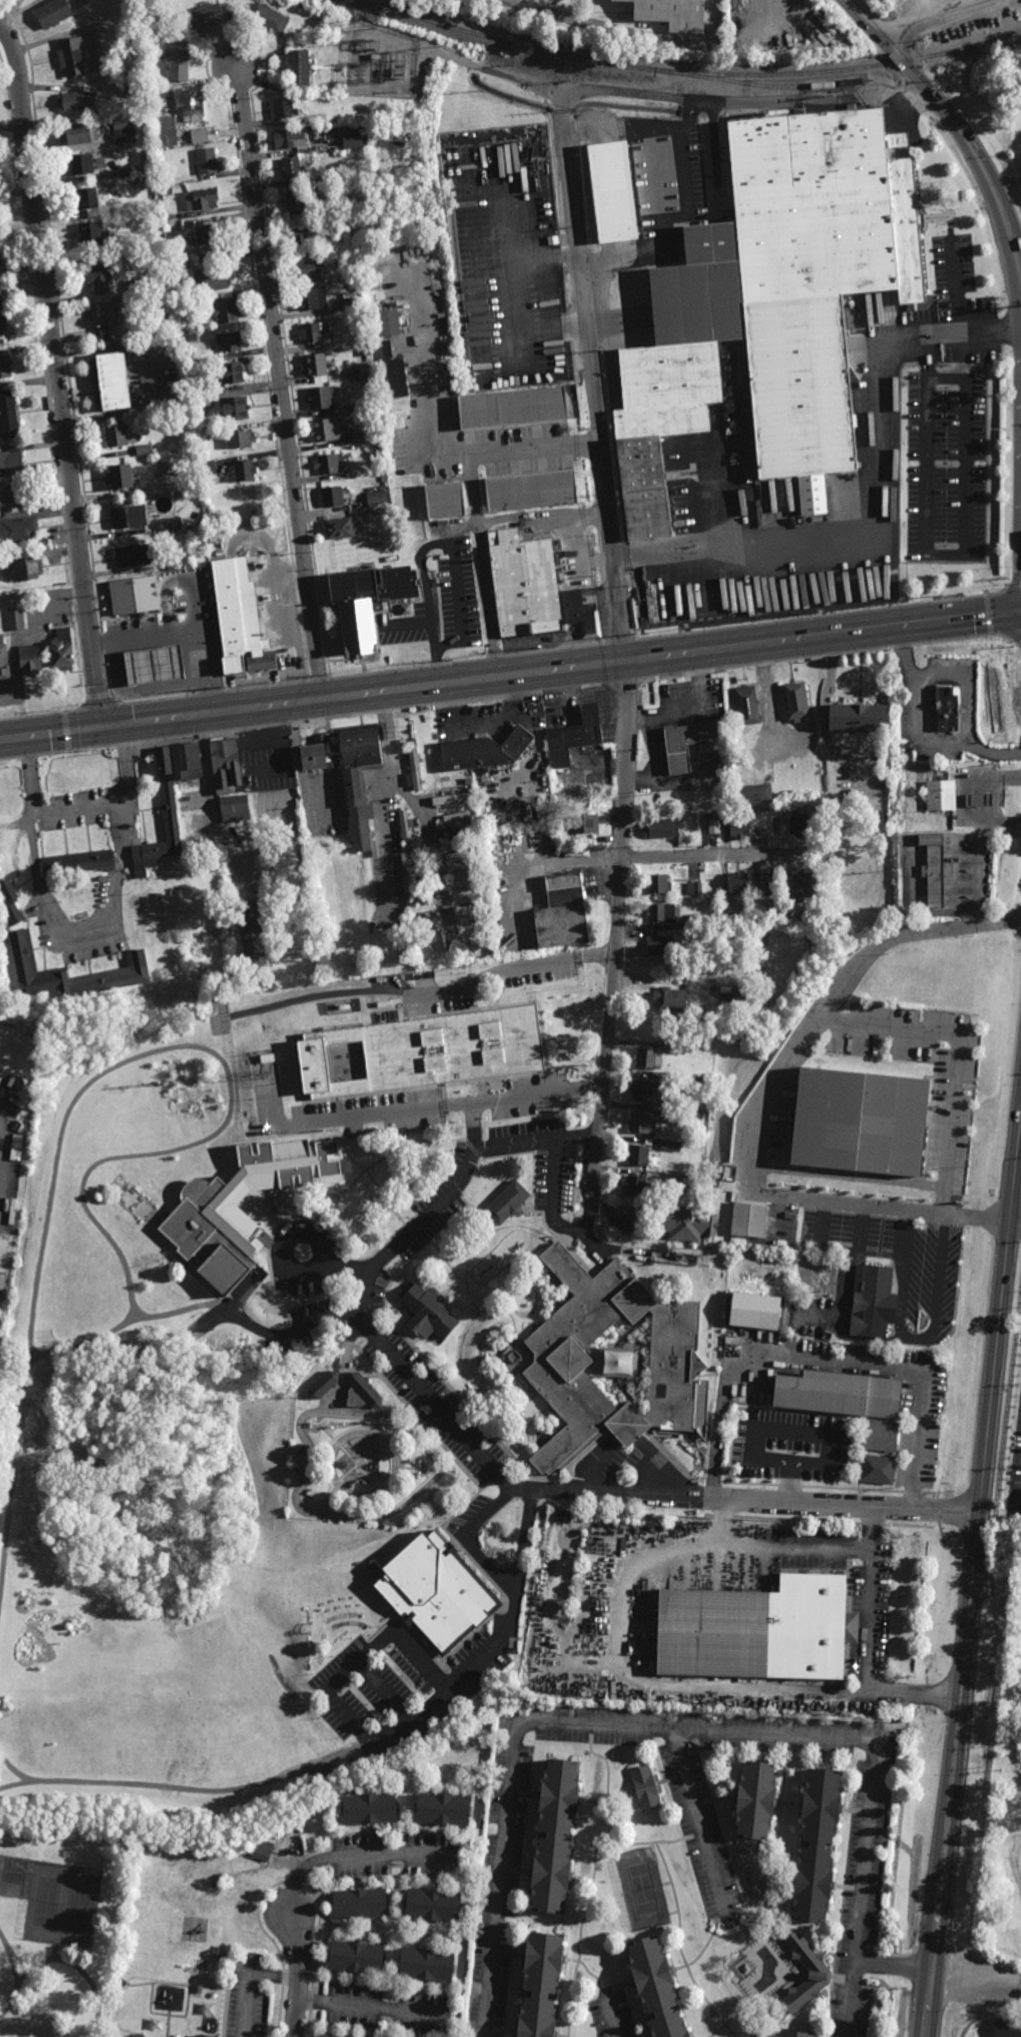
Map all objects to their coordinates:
building: (464, 5)
road: (939, 8)
quarry: (930, 10)
building: (52, 14)
building: (671, 14)
building: (205, 16)
building: (267, 19)
road: (937, 20)
road: (628, 34)
building: (158, 38)
railway: (953, 52)
building: (72, 57)
power substation: (382, 61)
building: (178, 65)
railway: (618, 65)
building: (297, 67)
building: (339, 73)
road: (550, 88)
building: (136, 93)
building: (75, 101)
road: (797, 103)
building: (193, 105)
building: (282, 108)
building: (327, 116)
road: (952, 121)
building: (166, 131)
building: (80, 132)
building: (125, 135)
building: (199, 135)
building: (289, 138)
building: (352, 140)
building: (206, 161)
building: (81, 163)
building: (100, 163)
building: (291, 168)
building: (127, 173)
building: (614, 190)
building: (200, 199)
building: (88, 200)
building: (298, 200)
road: (679, 214)
building: (305, 231)
building: (90, 232)
building: (208, 235)
building: (180, 264)
building: (0, 265)
building: (306, 269)
building: (98, 278)
building: (212, 278)
building: (356, 284)
building: (138, 287)
building: (310, 299)
building: (1, 300)
building: (191, 303)
building: (351, 305)
building: (773, 308)
building: (225, 313)
road: (958, 315)
building: (102, 320)
building: (389, 322)
building: (310, 333)
building: (3, 334)
building: (191, 337)
building: (227, 342)
road: (925, 356)
building: (314, 365)
building: (5, 366)
building: (179, 369)
road: (58, 373)
building: (233, 373)
road: (594, 378)
building: (112, 380)
road: (280, 382)
building: (396, 385)
building: (320, 397)
building: (194, 402)
building: (519, 406)
building: (235, 411)
building: (9, 414)
building: (325, 431)
building: (115, 436)
building: (355, 437)
building: (236, 439)
road: (434, 444)
building: (143, 450)
building: (9, 462)
building: (327, 464)
building: (207, 468)
building: (241, 471)
building: (119, 476)
building: (532, 490)
building: (15, 495)
building: (329, 497)
building: (375, 498)
building: (445, 499)
building: (366, 514)
building: (125, 515)
building: (169, 523)
road: (880, 528)
building: (339, 529)
building: (17, 530)
road: (967, 553)
building: (134, 556)
road: (454, 562)
building: (176, 563)
road: (482, 566)
building: (22, 568)
building: (524, 584)
road: (165, 594)
building: (134, 595)
power tower: (937, 596)
building: (366, 601)
road: (192, 603)
building: (405, 609)
power tower: (822, 610)
building: (16, 619)
building: (585, 620)
building: (237, 622)
road: (408, 625)
road: (185, 630)
power tower: (636, 635)
power tower: (543, 648)
building: (61, 656)
building: (29, 660)
power tower: (441, 660)
building: (3, 662)
building: (154, 665)
power tower: (330, 674)
road: (510, 678)
road: (967, 681)
power tower: (225, 687)
road: (139, 690)
power tower: (121, 698)
building: (795, 702)
building: (746, 705)
building: (946, 706)
power tower: (50, 708)
road: (824, 708)
building: (857, 718)
road: (483, 721)
traffic signals: (102, 726)
road: (919, 732)
building: (574, 737)
building: (686, 745)
building: (484, 751)
building: (267, 756)
building: (164, 761)
building: (186, 761)
building: (224, 764)
road: (298, 766)
building: (413, 767)
building: (349, 772)
building: (563, 779)
building: (447, 782)
road: (997, 792)
building: (752, 794)
building: (939, 796)
road: (382, 798)
building: (458, 798)
road: (211, 800)
building: (976, 801)
building: (568, 803)
road: (82, 807)
building: (233, 809)
building: (169, 810)
building: (459, 816)
building: (586, 824)
building: (737, 824)
road: (425, 826)
building: (713, 826)
building: (798, 826)
building: (662, 828)
building: (406, 830)
building: (460, 834)
road: (718, 854)
building: (461, 855)
road: (594, 860)
road: (979, 860)
building: (78, 861)
building: (288, 868)
building: (933, 868)
building: (464, 871)
building: (412, 880)
building: (658, 883)
building: (736, 883)
building: (770, 883)
building: (801, 884)
building: (694, 887)
building: (470, 889)
building: (411, 901)
building: (11, 904)
building: (746, 904)
building: (419, 907)
building: (473, 908)
building: (563, 911)
building: (661, 911)
building: (725, 915)
building: (788, 915)
building: (761, 917)
building: (412, 919)
building: (696, 919)
building: (477, 926)
road: (83, 931)
building: (251, 935)
building: (435, 942)
building: (659, 943)
road: (615, 947)
building: (24, 959)
road: (507, 967)
building: (740, 994)
building: (669, 998)
building: (674, 1047)
building: (690, 1048)
building: (342, 1051)
road: (958, 1051)
building: (648, 1057)
building: (0, 1070)
building: (685, 1080)
building: (17, 1081)
road: (94, 1081)
building: (641, 1089)
road: (537, 1096)
road: (754, 1108)
building: (675, 1114)
road: (368, 1118)
building: (693, 1119)
building: (641, 1122)
building: (856, 1122)
road: (1, 1133)
road: (474, 1139)
building: (669, 1144)
building: (637, 1154)
building: (687, 1180)
building: (635, 1185)
road: (552, 1198)
building: (508, 1203)
building: (208, 1216)
road: (1017, 1217)
building: (747, 1219)
building: (684, 1222)
road: (588, 1239)
road: (837, 1249)
road: (335, 1264)
road: (373, 1268)
building: (873, 1303)
road: (841, 1306)
building: (752, 1311)
building: (427, 1314)
road: (123, 1327)
building: (133, 1328)
building: (143, 1329)
road: (290, 1333)
road: (914, 1336)
building: (562, 1360)
road: (892, 1366)
building: (321, 1385)
building: (364, 1391)
building: (837, 1395)
road: (786, 1428)
building: (881, 1438)
road: (630, 1440)
road: (363, 1466)
road: (359, 1469)
building: (876, 1470)
road: (790, 1485)
road: (526, 1489)
building: (426, 1496)
road: (357, 1499)
road: (757, 1504)
road: (395, 1511)
road: (469, 1536)
road: (782, 1550)
road: (974, 1590)
building: (435, 1591)
building: (755, 1630)
road: (494, 1642)
road: (870, 1645)
road: (406, 1648)
road: (373, 1673)
road: (644, 1682)
parking lot: (399, 1685)
road: (349, 1716)
road: (533, 1723)
road: (13, 1769)
building: (643, 1786)
road: (183, 1788)
road: (872, 1792)
road: (524, 1794)
building: (752, 1797)
road: (715, 1799)
road: (594, 1801)
road: (778, 1803)
road: (791, 1804)
building: (368, 1806)
building: (442, 1806)
road: (854, 1812)
building: (555, 1832)
road: (779, 1832)
parking lot: (703, 1837)
road: (651, 1843)
building: (815, 1843)
building: (263, 1849)
road: (356, 1857)
road: (664, 1866)
road: (517, 1871)
road: (594, 1878)
road: (582, 1879)
road: (787, 1882)
park: (642, 1888)
road: (847, 1888)
park: (47, 1901)
building: (358, 1902)
building: (432, 1904)
park: (77, 1906)
road: (742, 1927)
park: (60, 1931)
road: (704, 1949)
road: (57, 1952)
road: (508, 1955)
building: (223, 1956)
building: (354, 1956)
road: (12, 1962)
road: (21, 1963)
building: (425, 1963)
road: (687, 1965)
building: (814, 1965)
road: (894, 1967)
road: (76, 1969)
road: (590, 1974)
road: (296, 1977)
road: (976, 1980)
building: (121, 1981)
road: (842, 1981)
road: (248, 1983)
building: (540, 1984)
building: (197, 1988)
road: (617, 1988)
building: (653, 1988)
building: (214, 1994)
building: (1020, 1995)
road: (10, 2006)
road: (374, 2008)
building: (1019, 2014)
parking lot: (612, 2015)
road: (612, 2018)
road: (763, 2019)
road: (732, 2020)
road: (501, 2029)
building: (1007, 2029)
building: (792, 2034)
building: (139, 2035)
building: (176, 2035)
building: (194, 2035)
building: (198, 2035)
building: (328, 2036)

